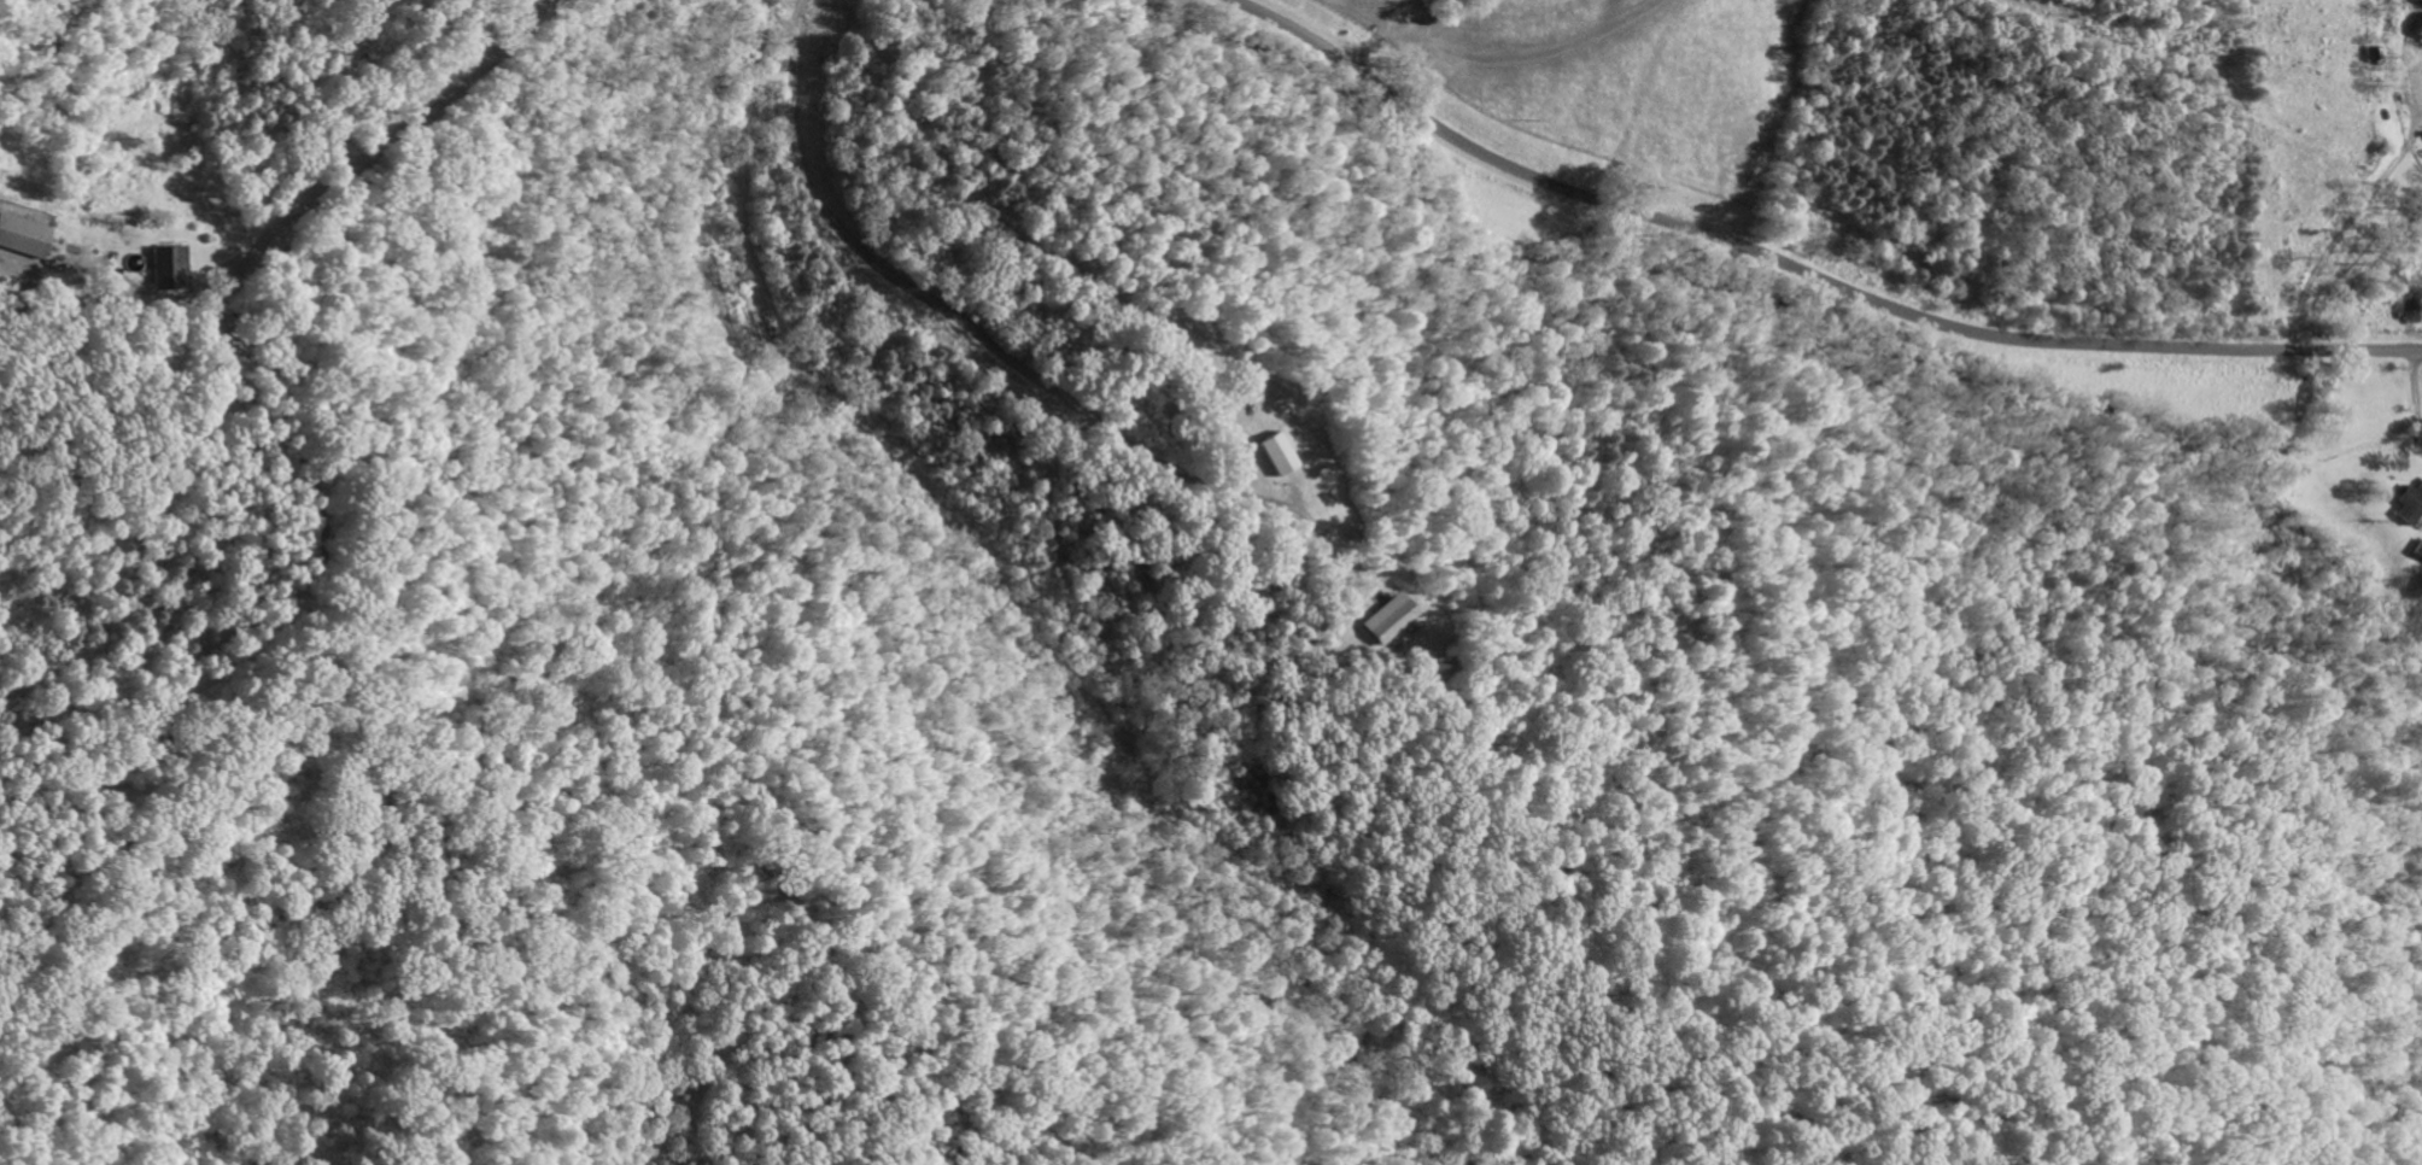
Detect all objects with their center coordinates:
building: (2420, 31)
road: (1484, 51)
road: (365, 153)
road: (2342, 230)
building: (21, 238)
building: (163, 269)
road: (1798, 273)
building: (2411, 285)
road: (972, 344)
road: (2412, 393)
building: (1275, 453)
building: (2411, 507)
building: (2418, 551)
building: (1387, 620)

